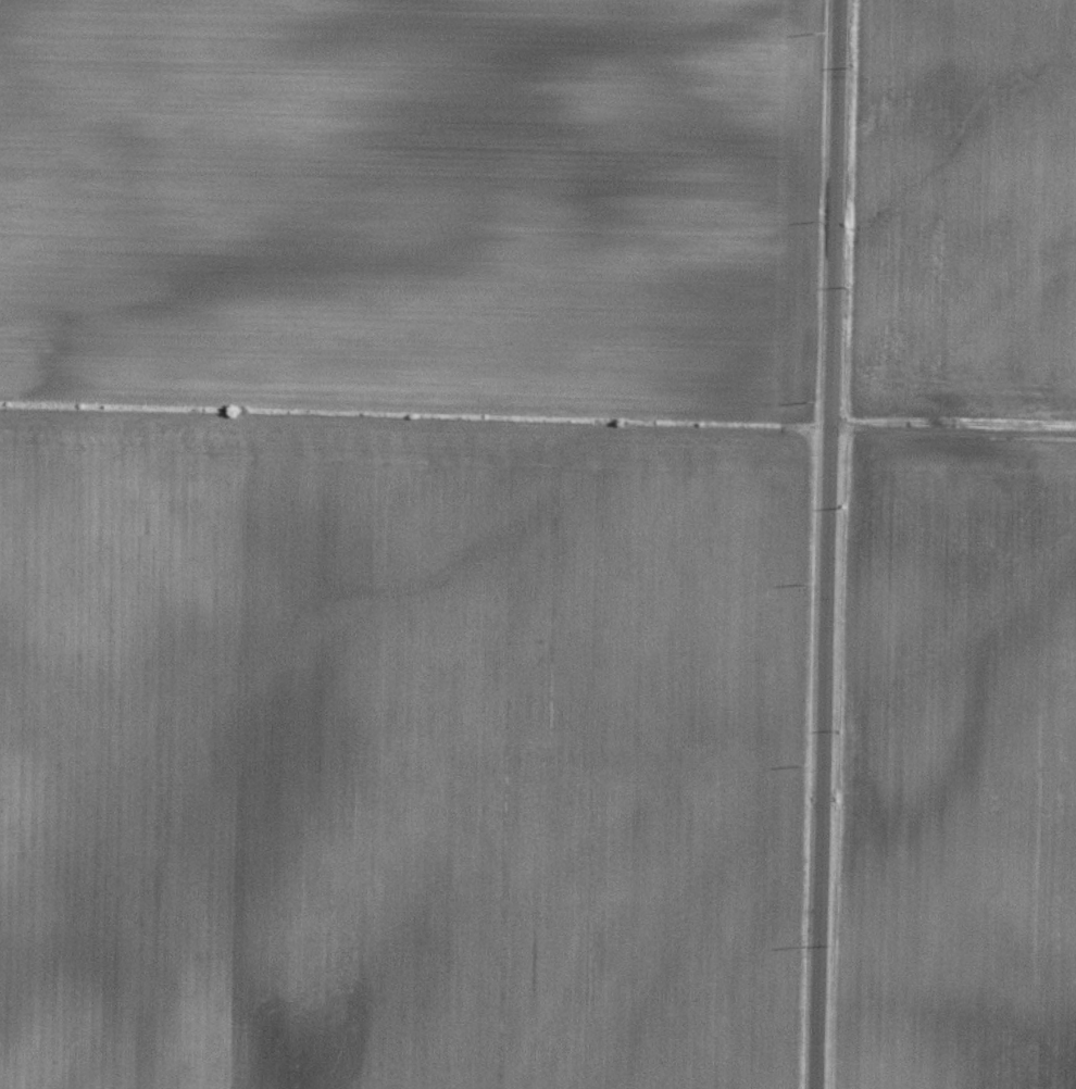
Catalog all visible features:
road: (825, 544)

